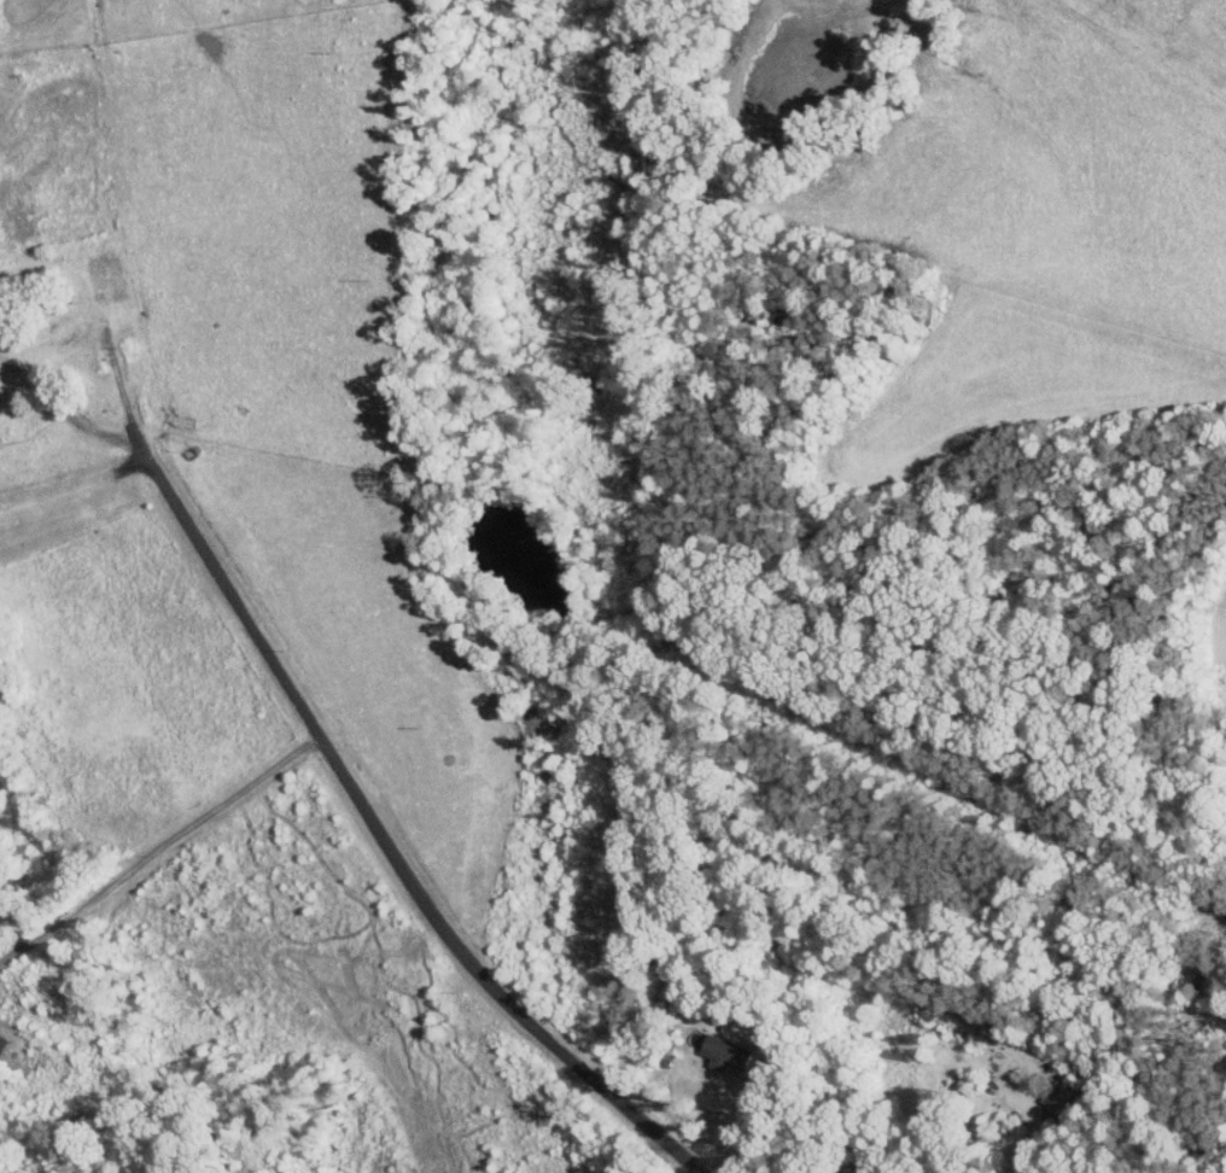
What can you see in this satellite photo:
road: (383, 841)
road: (158, 847)
building: (728, 1052)
building: (1063, 1099)
road: (753, 1125)
road: (681, 1165)
building: (853, 1172)

